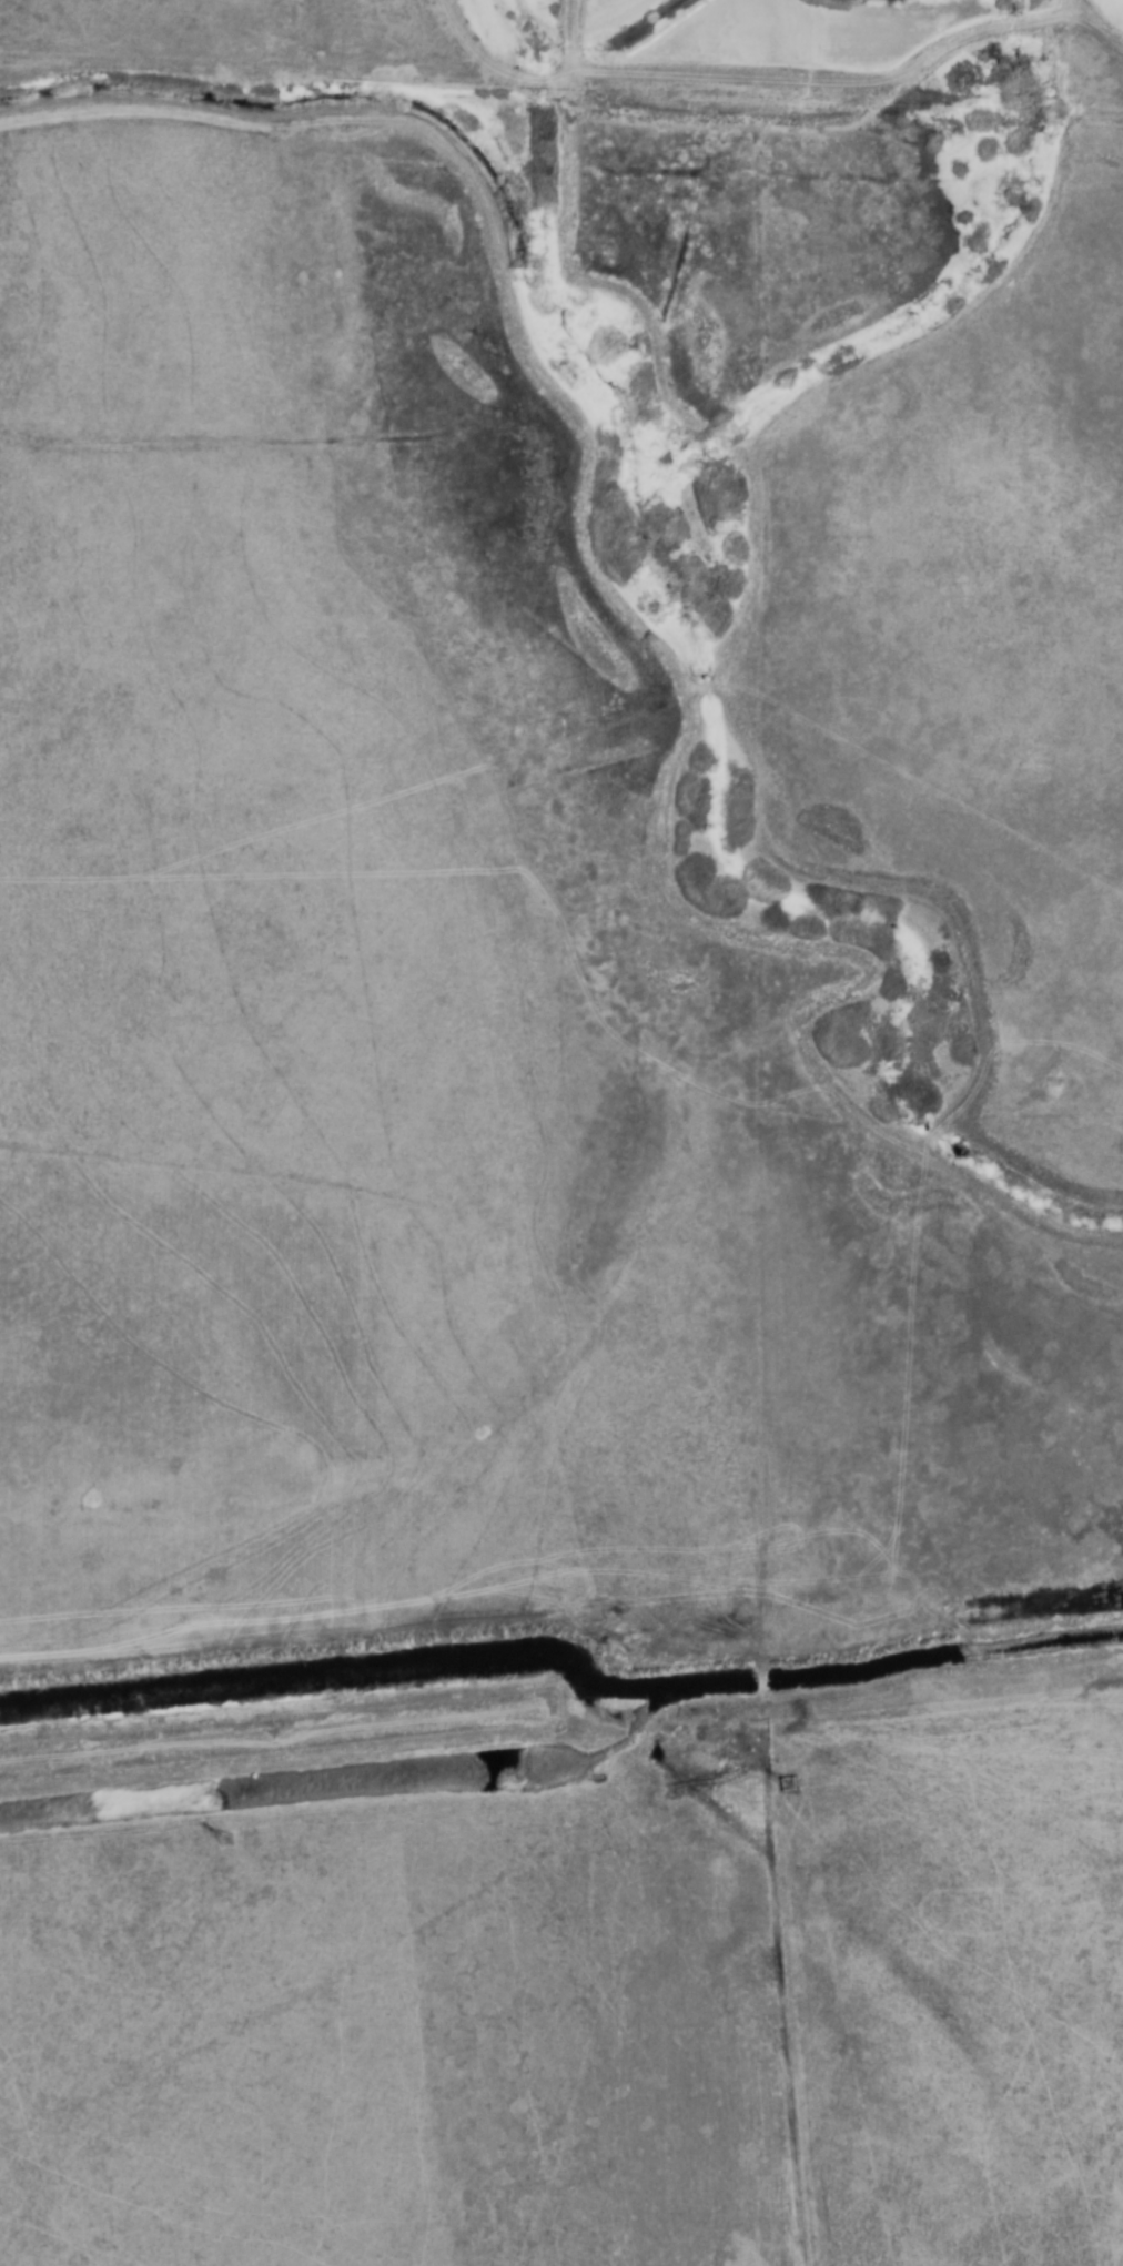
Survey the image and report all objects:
power tower: (787, 1788)
power tower: (249, 1843)

